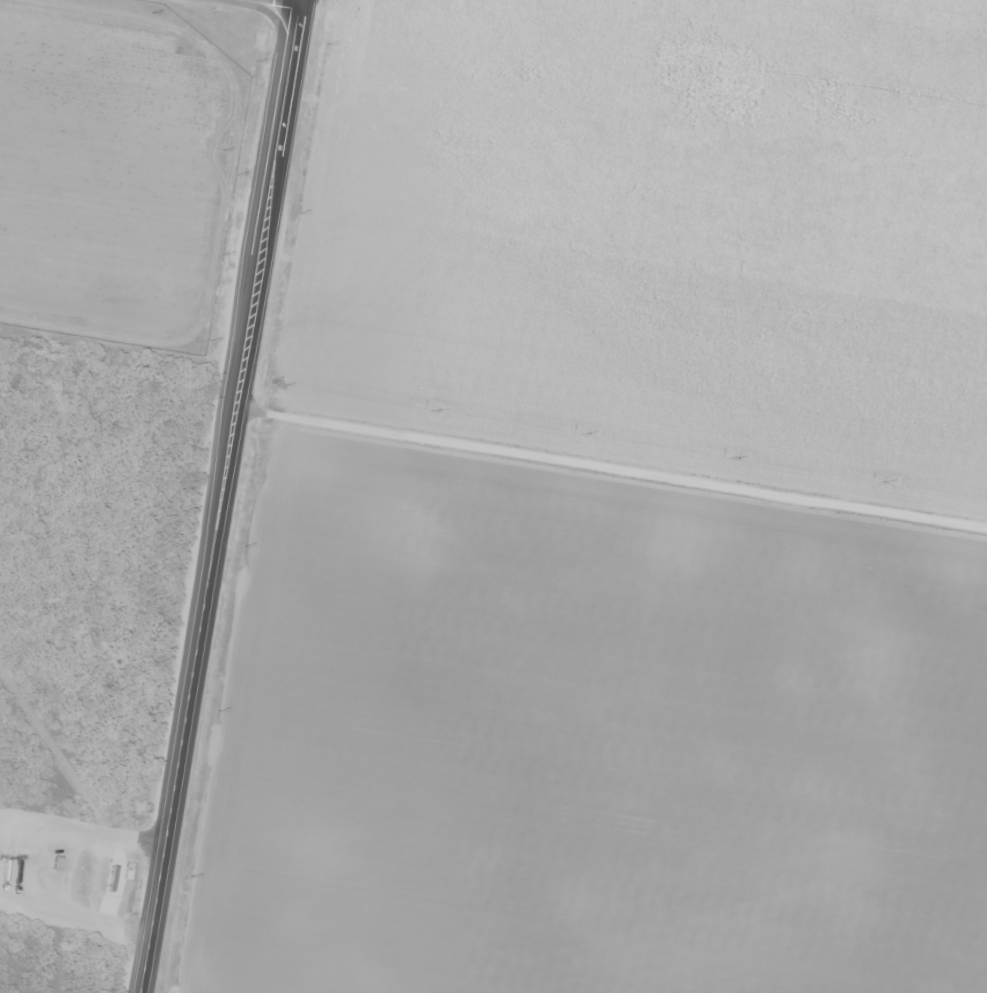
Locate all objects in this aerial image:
road: (297, 1)
road: (613, 467)
road: (225, 496)
road: (18, 860)

